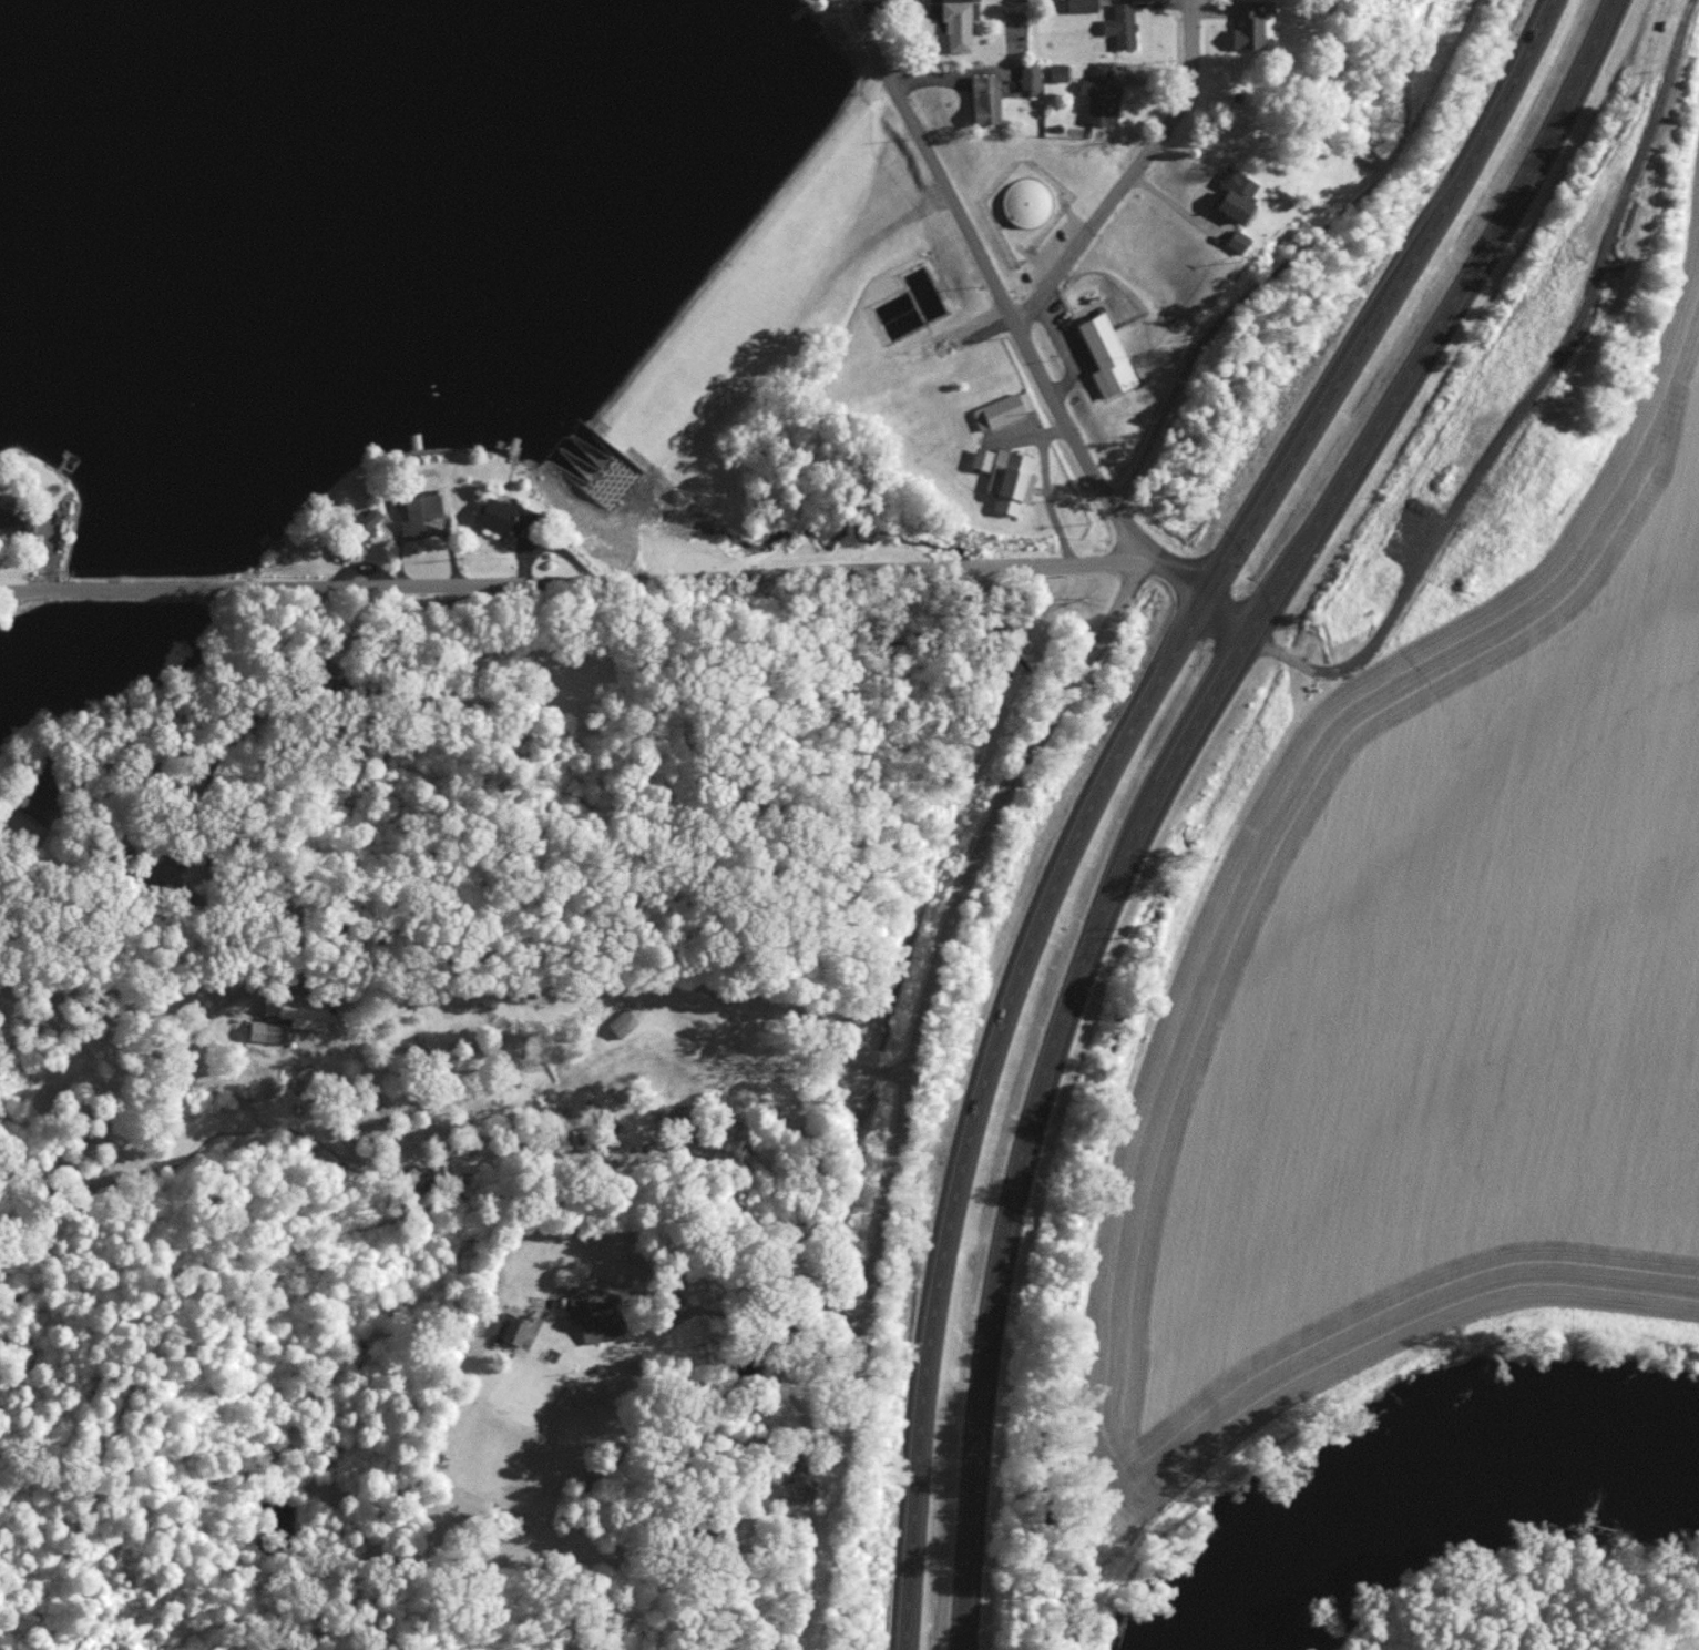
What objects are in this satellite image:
building: (1083, 6)
building: (961, 23)
building: (1123, 23)
building: (1249, 26)
building: (1060, 71)
building: (1031, 75)
building: (1102, 93)
building: (986, 99)
road: (1132, 171)
building: (1239, 193)
building: (1026, 201)
road: (954, 207)
building: (1239, 240)
building: (1107, 355)
road: (1531, 400)
building: (1004, 409)
building: (983, 457)
road: (1034, 478)
building: (1012, 479)
building: (420, 515)
building: (508, 516)
building: (372, 517)
building: (17, 519)
road: (1091, 552)
road: (1186, 581)
road: (532, 589)
road: (247, 724)
road: (1161, 778)
road: (1101, 780)
building: (32, 797)
road: (969, 852)
road: (647, 982)
building: (624, 1021)
building: (268, 1030)
road: (734, 1312)
building: (597, 1320)
building: (515, 1330)
road: (784, 1385)
river: (1427, 1473)
building: (798, 1484)

